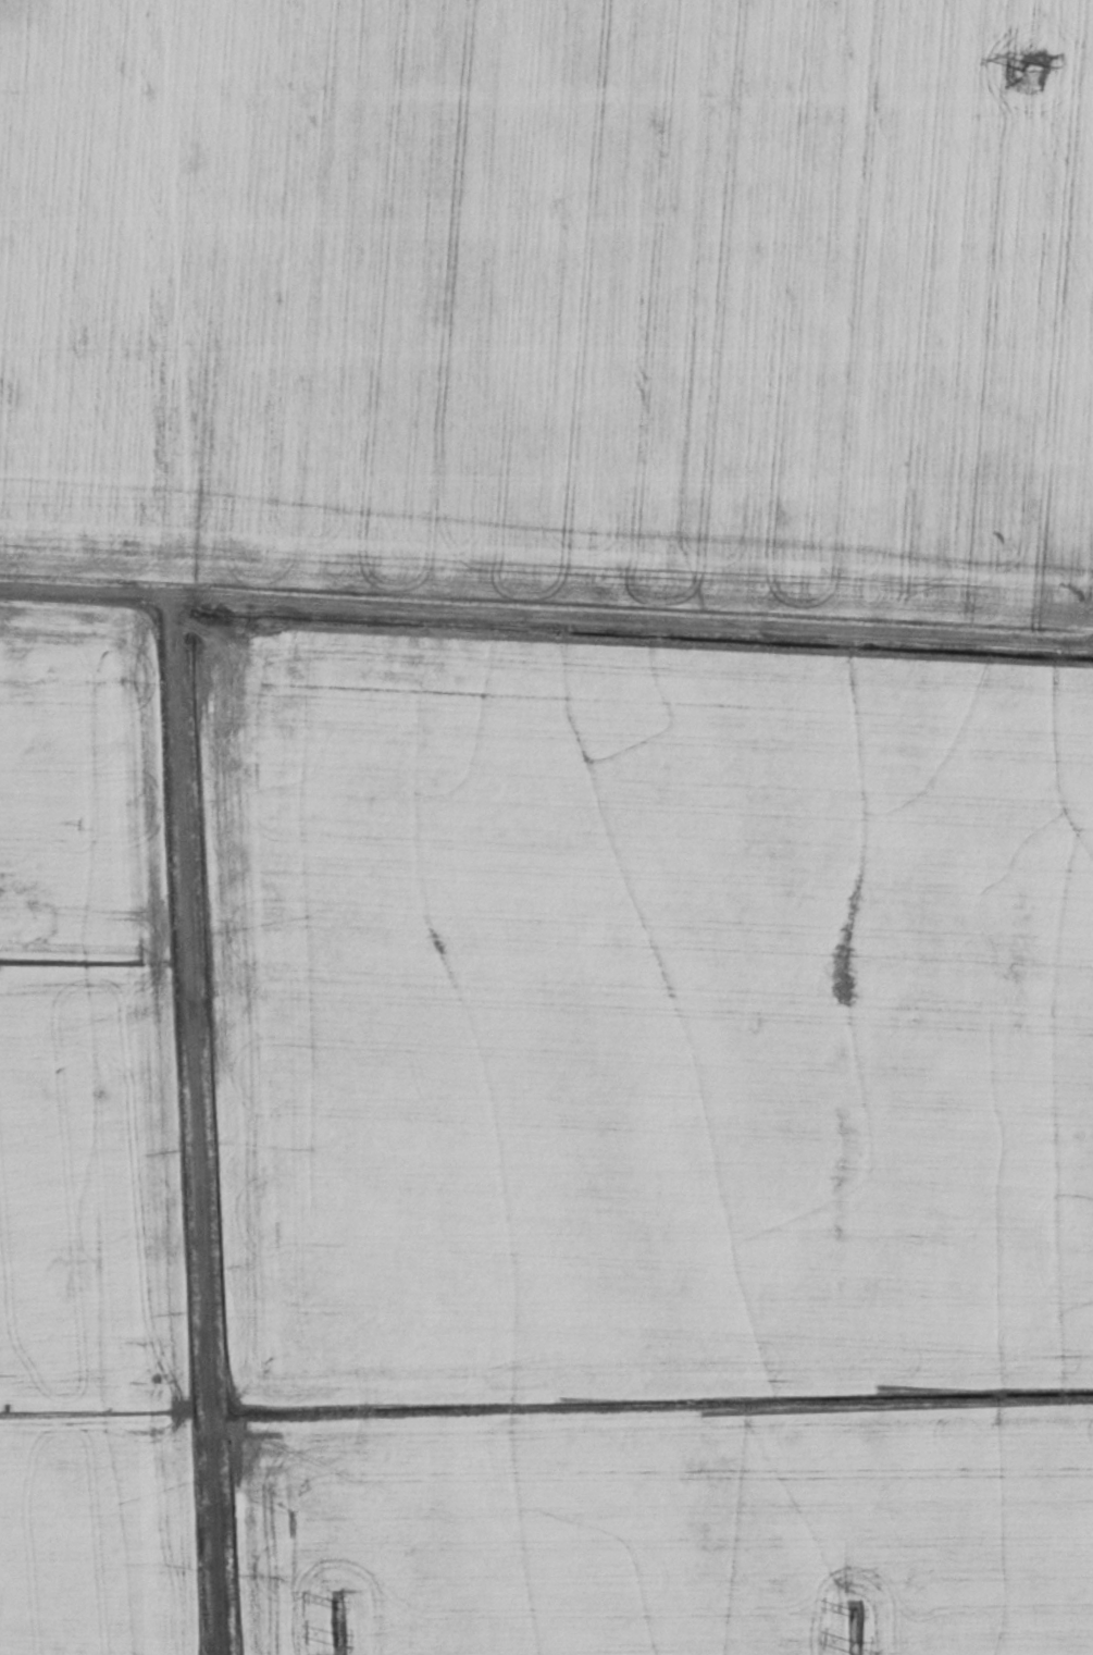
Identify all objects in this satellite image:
power tower: (1031, 64)

